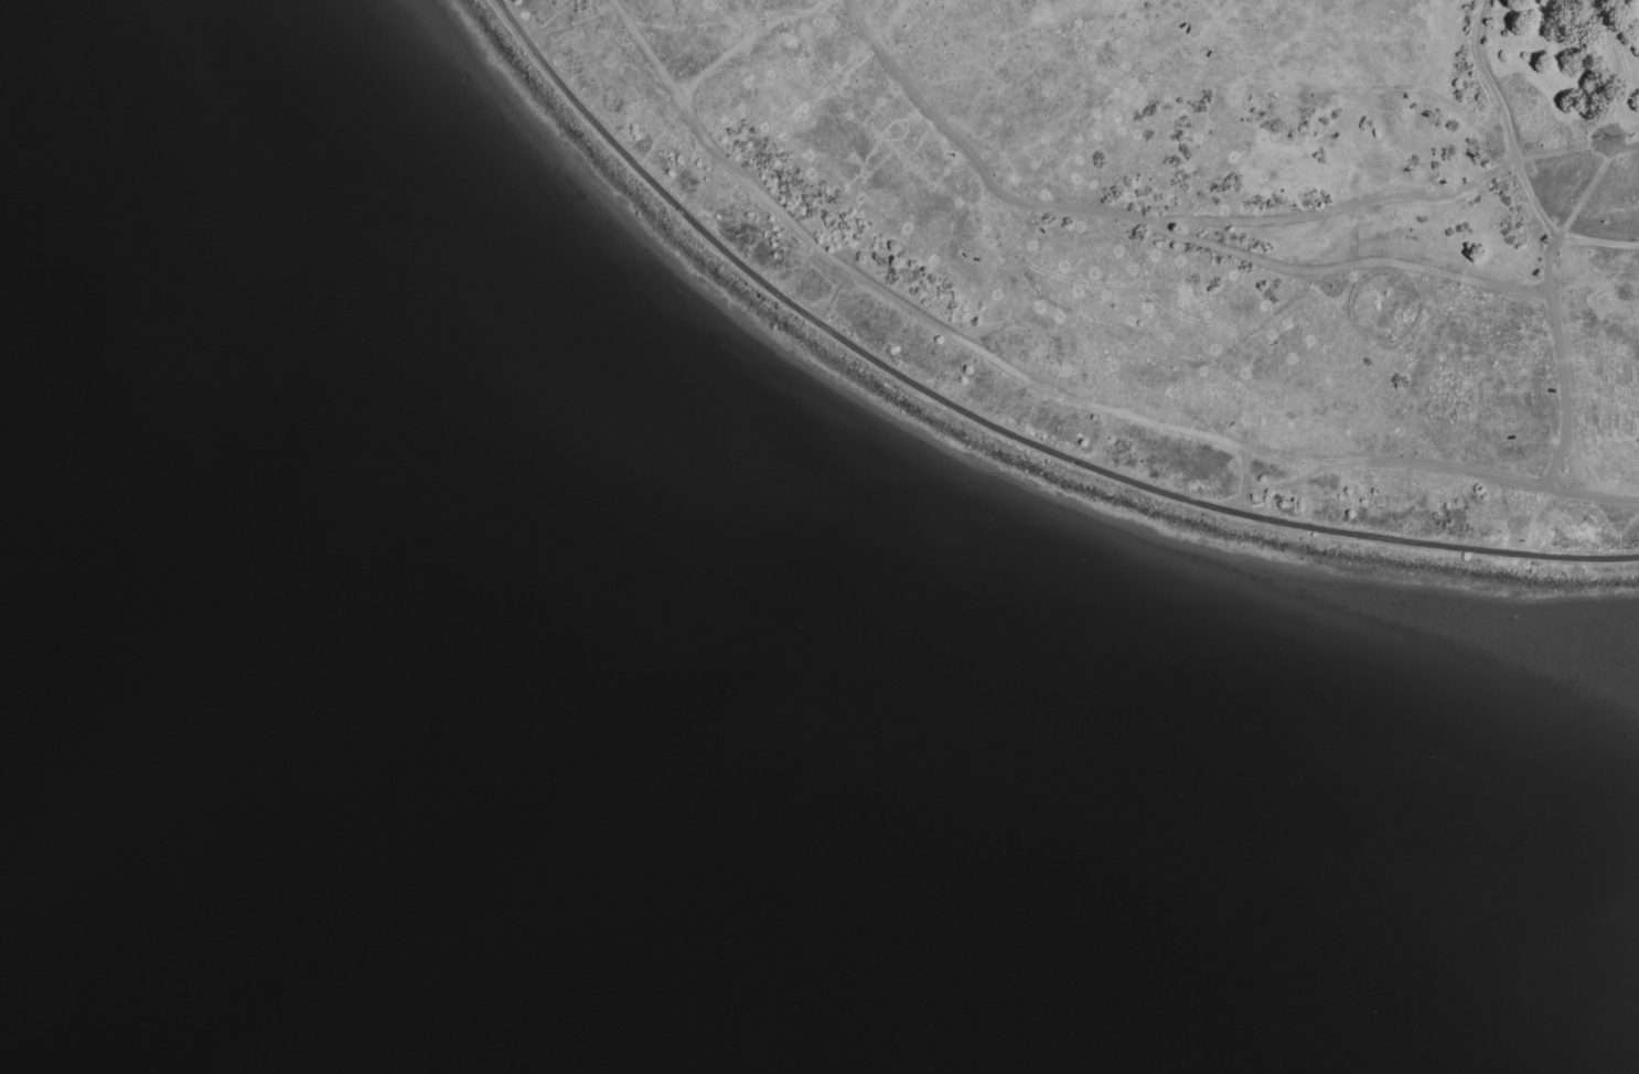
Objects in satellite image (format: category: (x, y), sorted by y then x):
road: (565, 25)
road: (1479, 68)
road: (1503, 139)
road: (1626, 147)
road: (1137, 217)
road: (1347, 265)
road: (1552, 309)
road: (1052, 386)
road: (996, 425)

